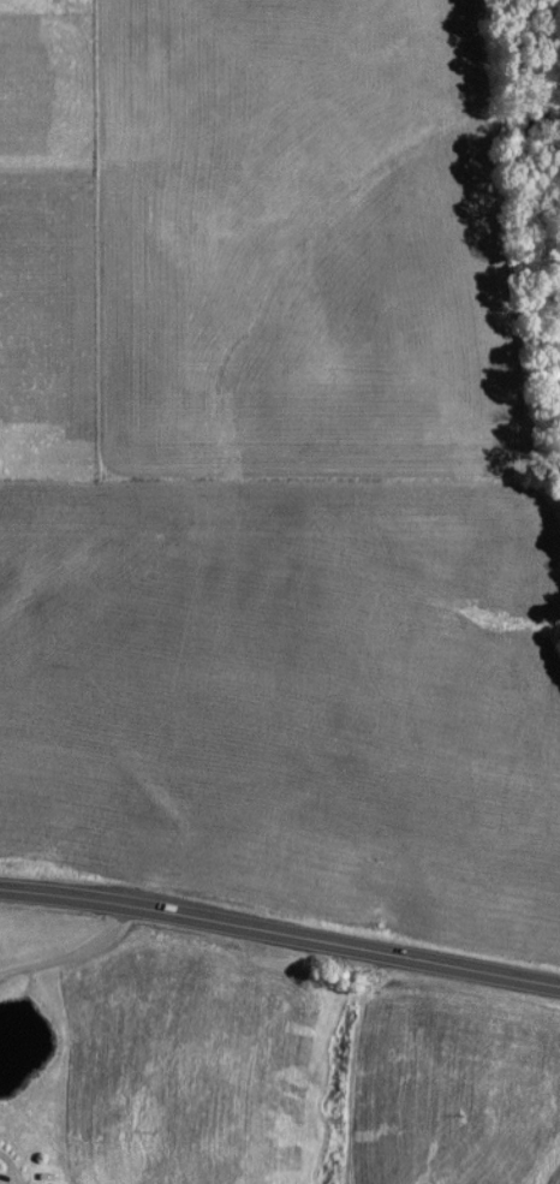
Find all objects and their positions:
road: (280, 927)
road: (71, 950)

